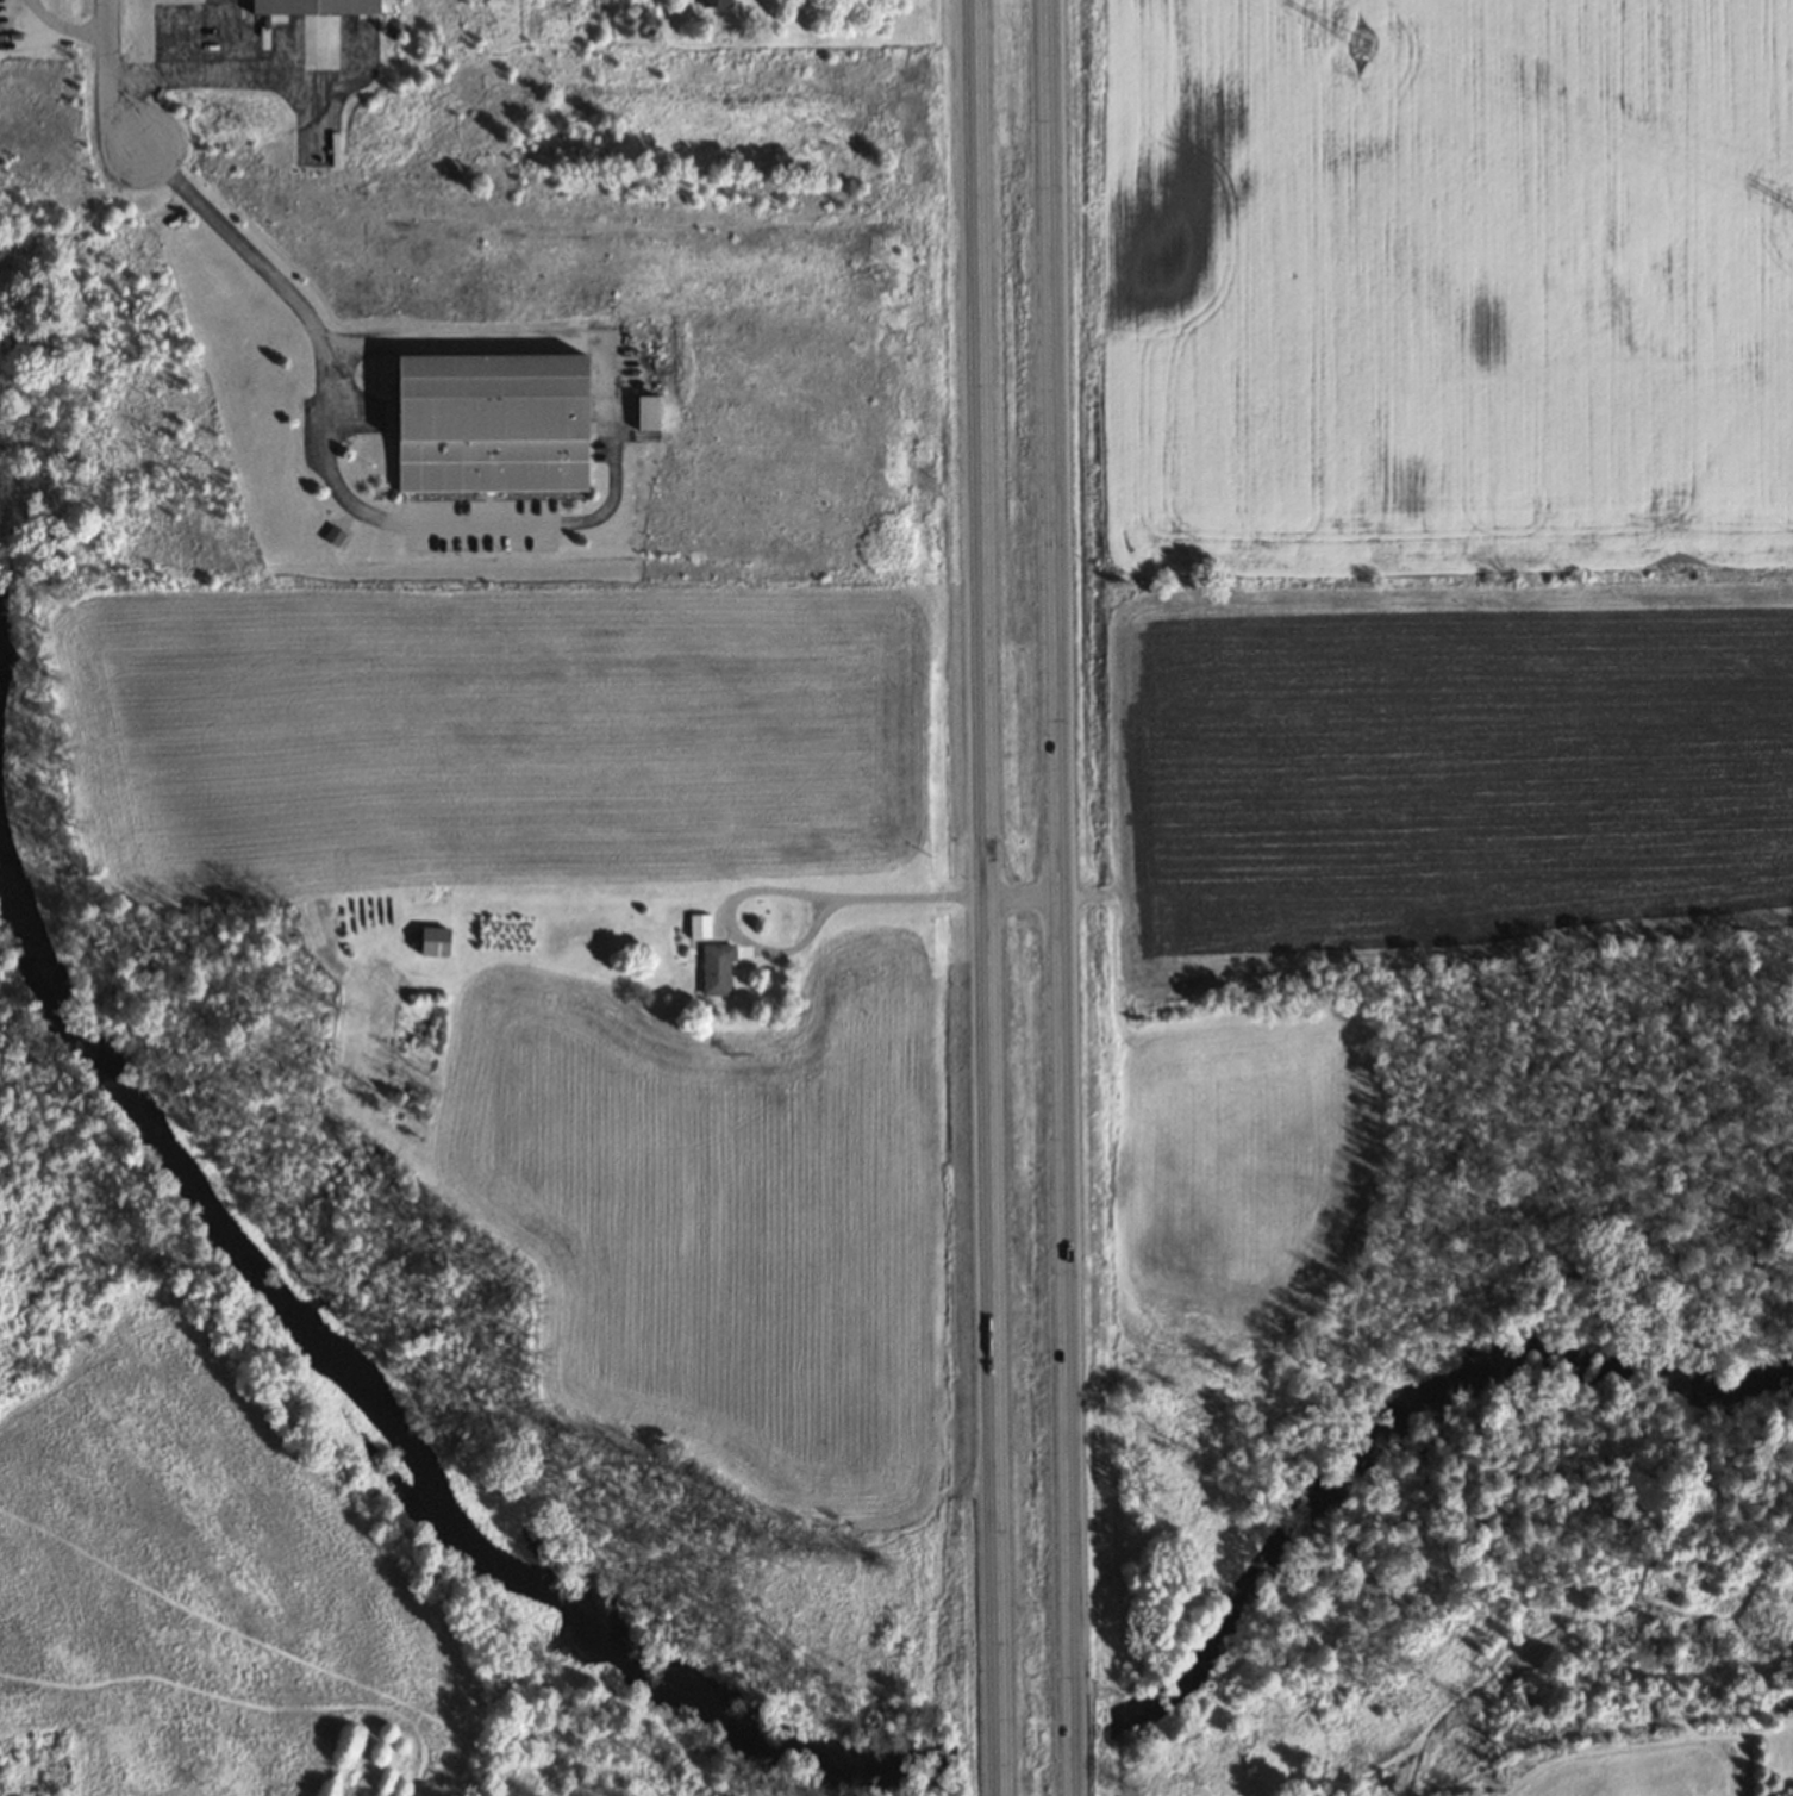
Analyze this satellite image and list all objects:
building: (713, 2)
building: (313, 6)
power tower: (1360, 40)
road: (187, 71)
road: (106, 76)
building: (646, 412)
building: (489, 423)
road: (479, 519)
road: (989, 898)
road: (1057, 898)
building: (699, 925)
building: (432, 942)
building: (716, 969)
river: (368, 1341)
river: (1424, 1454)
river: (1031, 1740)

